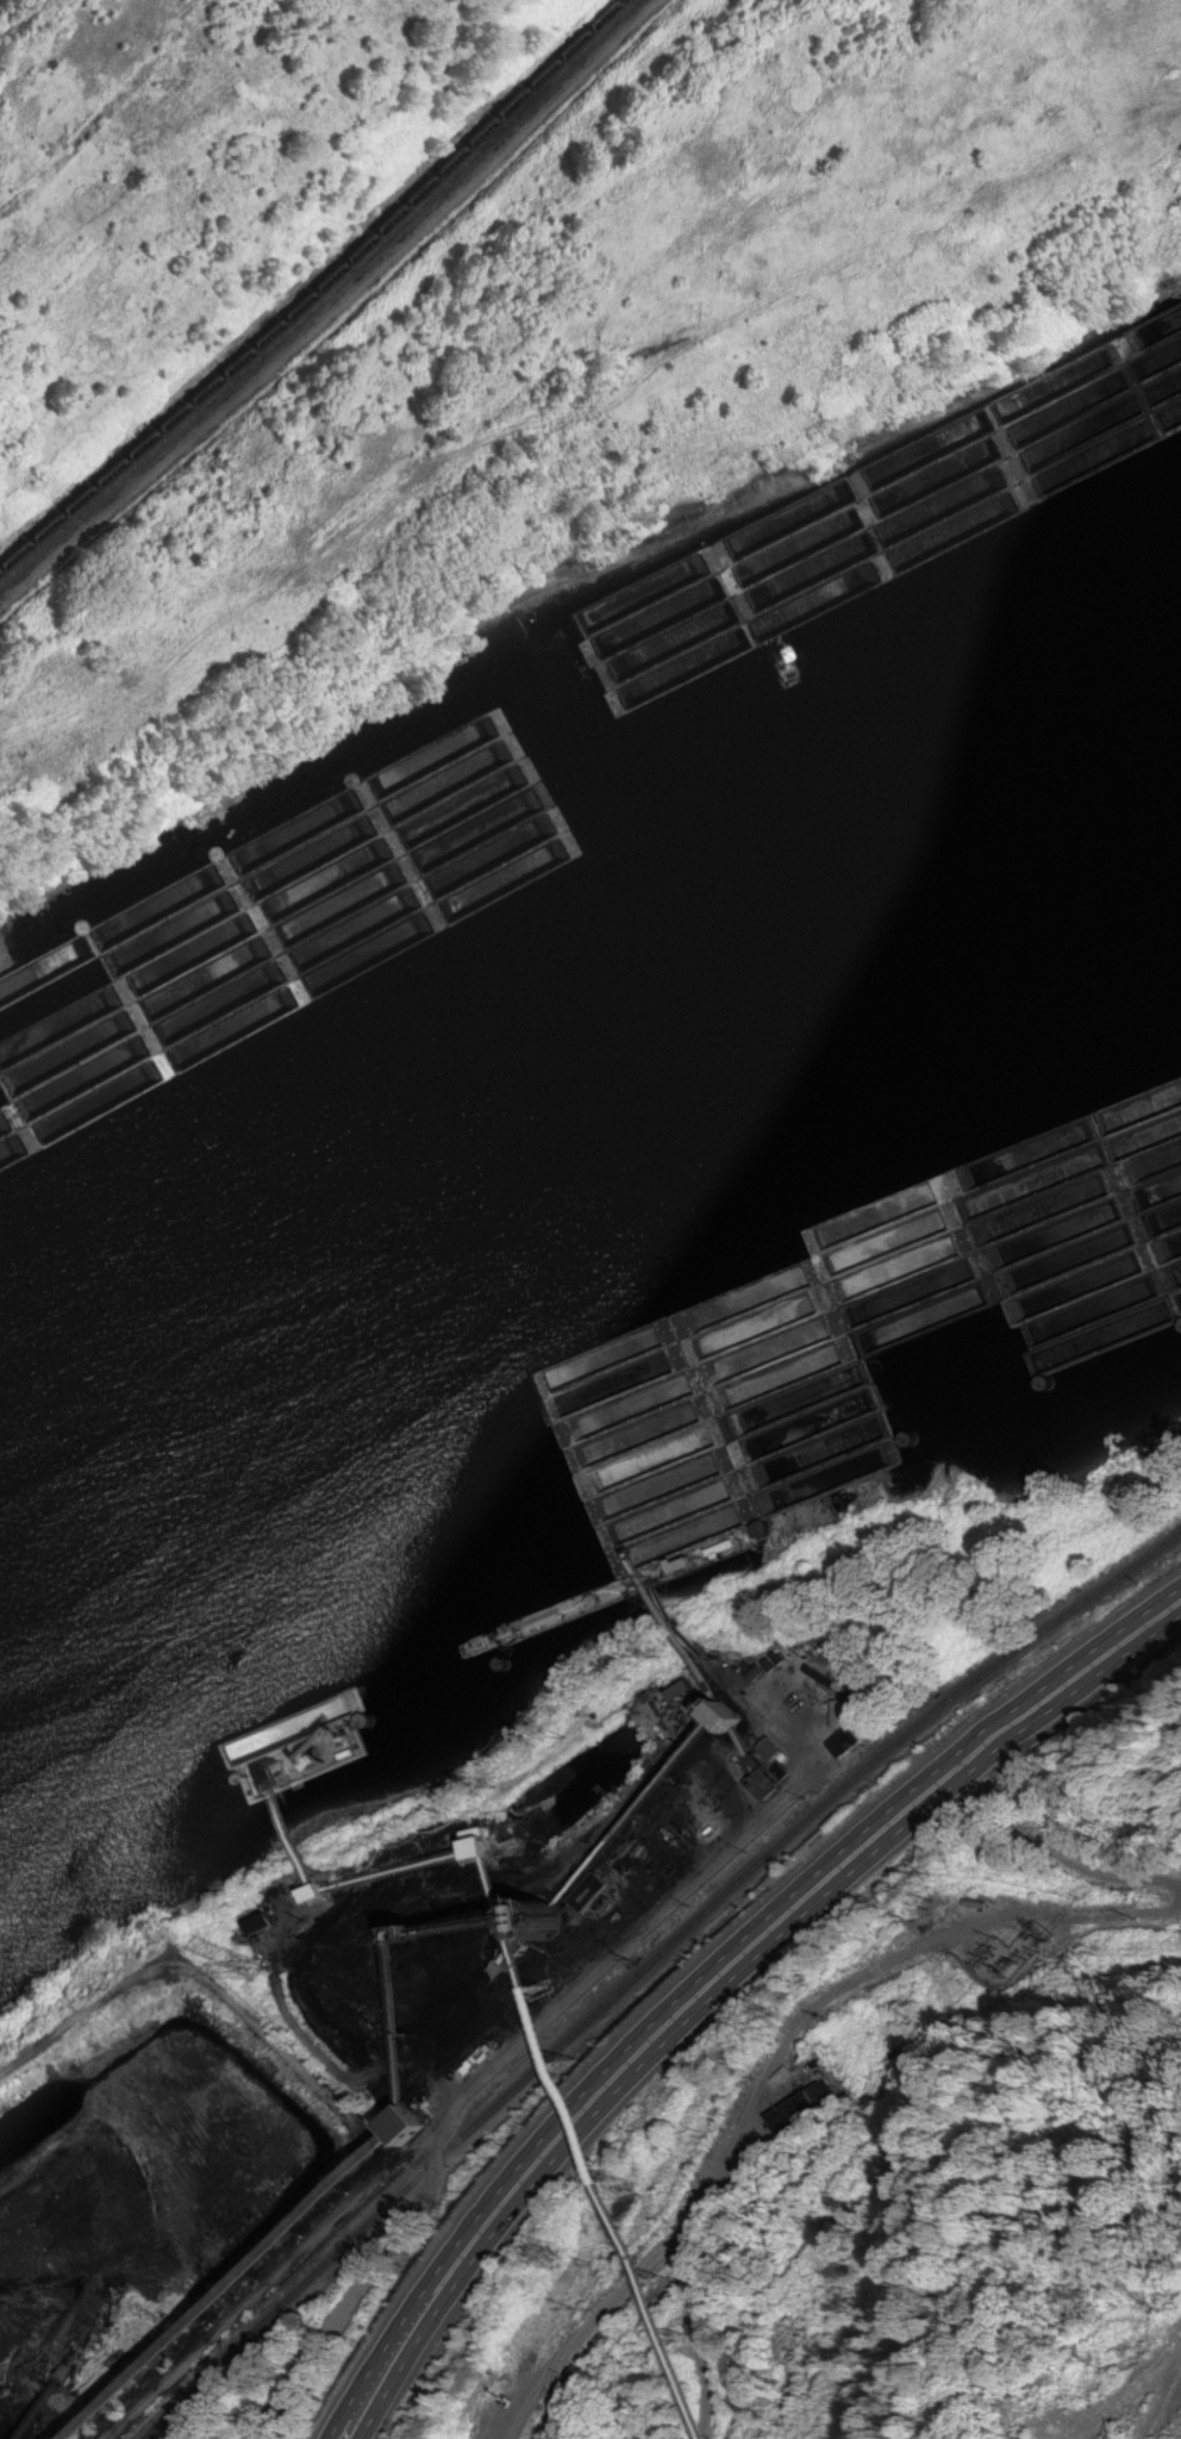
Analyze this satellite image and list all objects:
railway: (321, 299)
building: (65, 1021)
building: (1098, 1164)
river: (585, 1175)
building: (806, 1358)
building: (688, 1692)
building: (839, 1716)
building: (748, 1720)
building: (849, 1744)
building: (774, 1752)
railway: (642, 1960)
power tower: (251, 1966)
road: (183, 1975)
road: (718, 1976)
road: (773, 2071)
building: (794, 2113)
building: (429, 2123)
road: (1154, 2387)
road: (1114, 2406)

